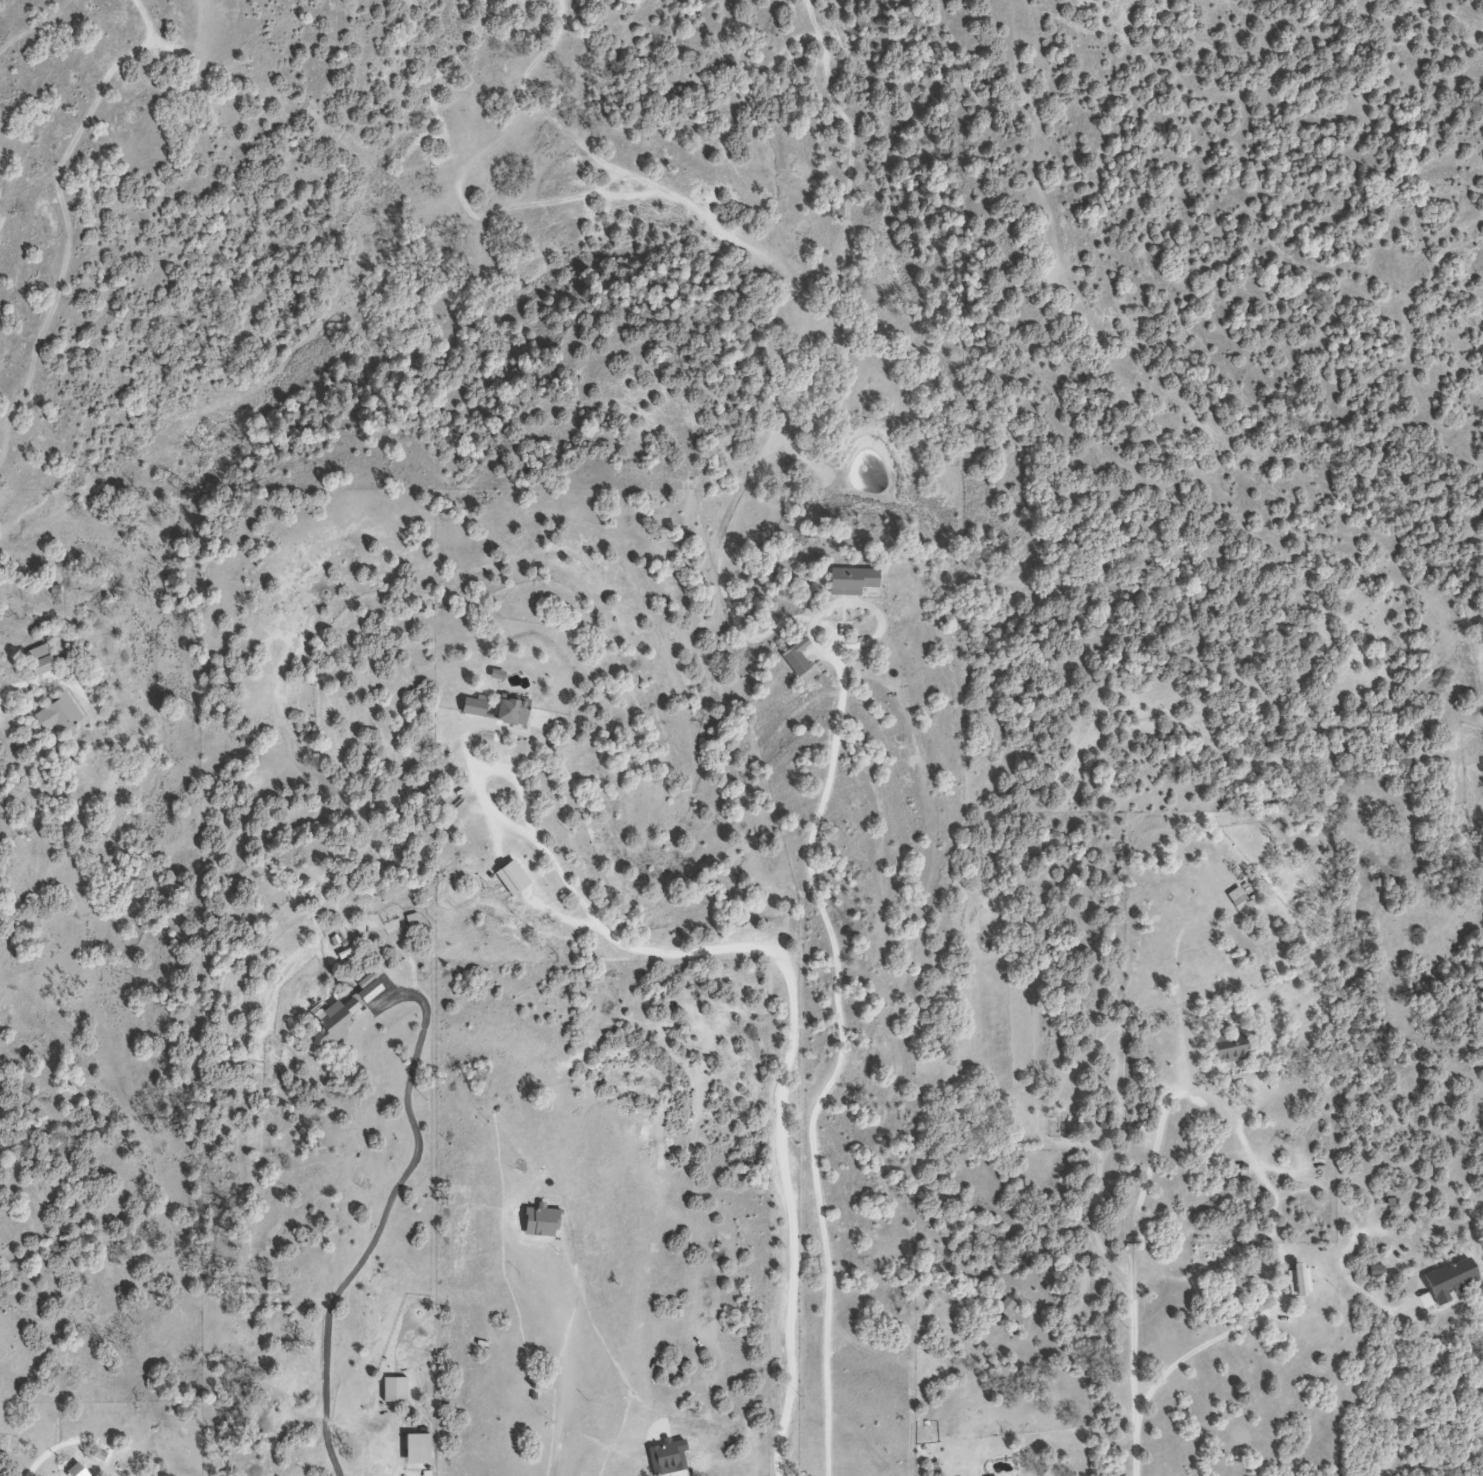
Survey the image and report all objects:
road: (37, 28)
building: (848, 581)
building: (794, 658)
building: (36, 661)
road: (46, 683)
building: (496, 711)
building: (54, 716)
road: (795, 1010)
building: (329, 1025)
building: (1227, 1048)
road: (840, 1060)
road: (1229, 1112)
road: (382, 1220)
building: (1298, 1281)
building: (1451, 1281)
building: (1002, 1308)
road: (566, 1364)
road: (1387, 1386)
road: (1139, 1447)

